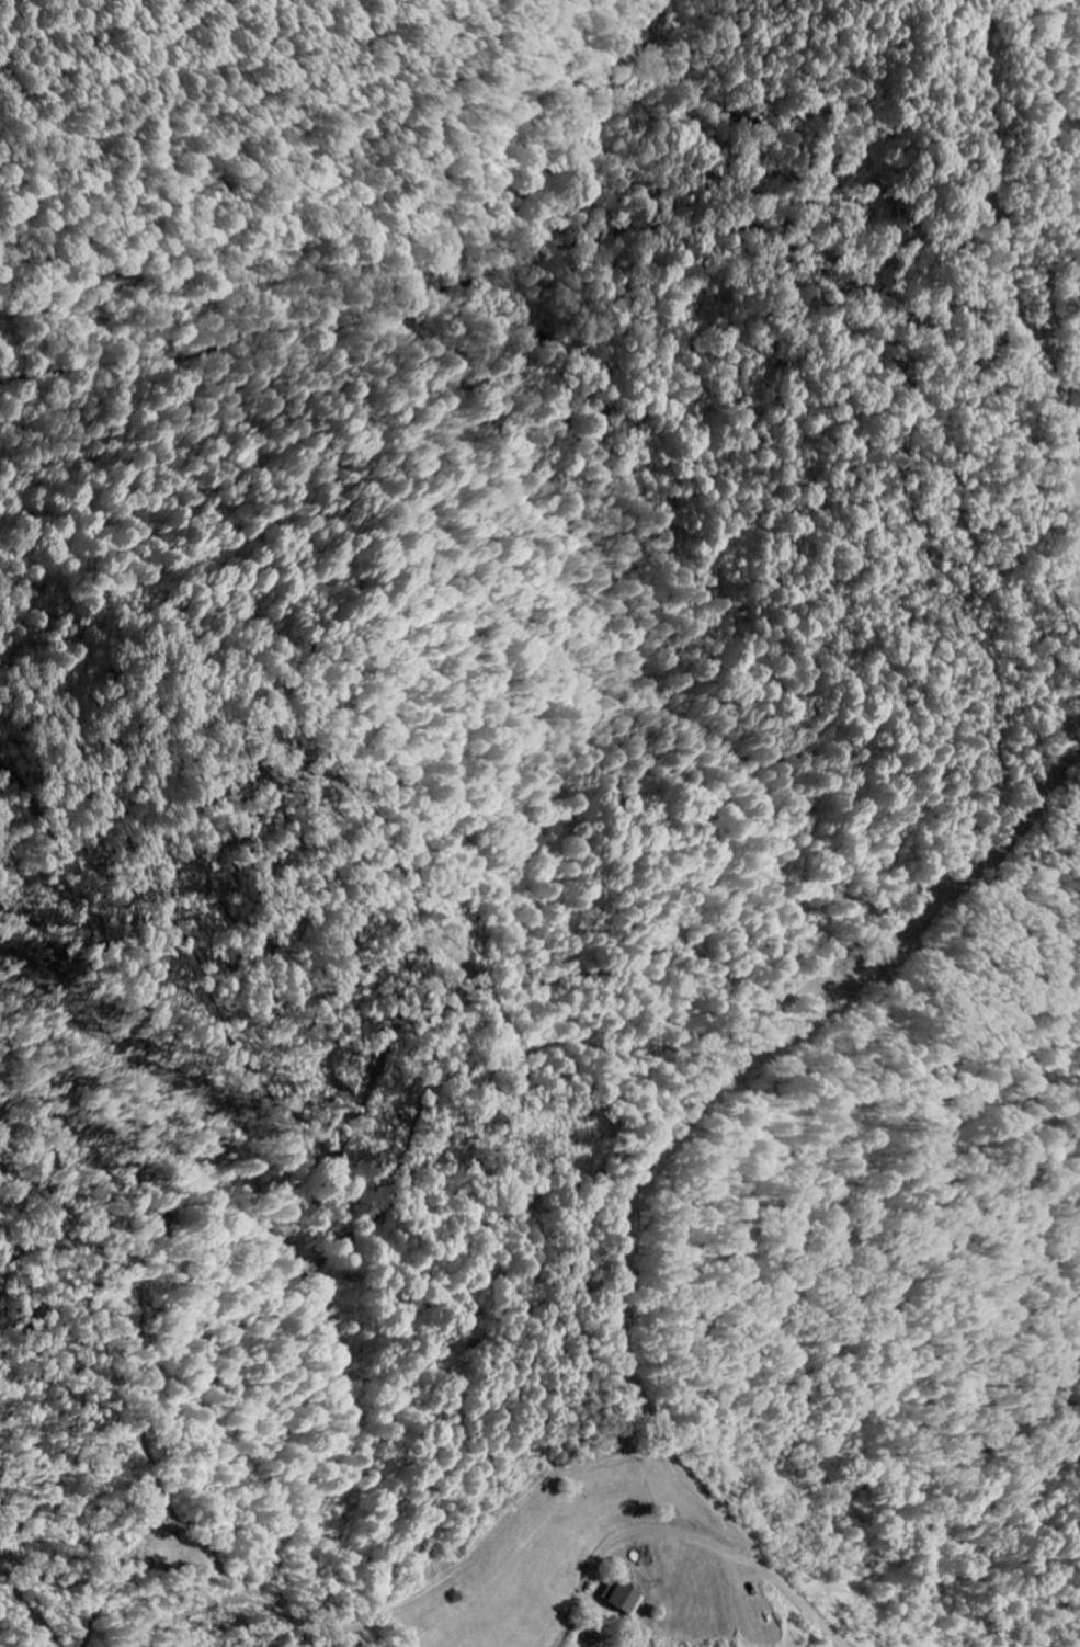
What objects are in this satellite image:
road: (1065, 443)
road: (660, 1148)
building: (626, 1598)

